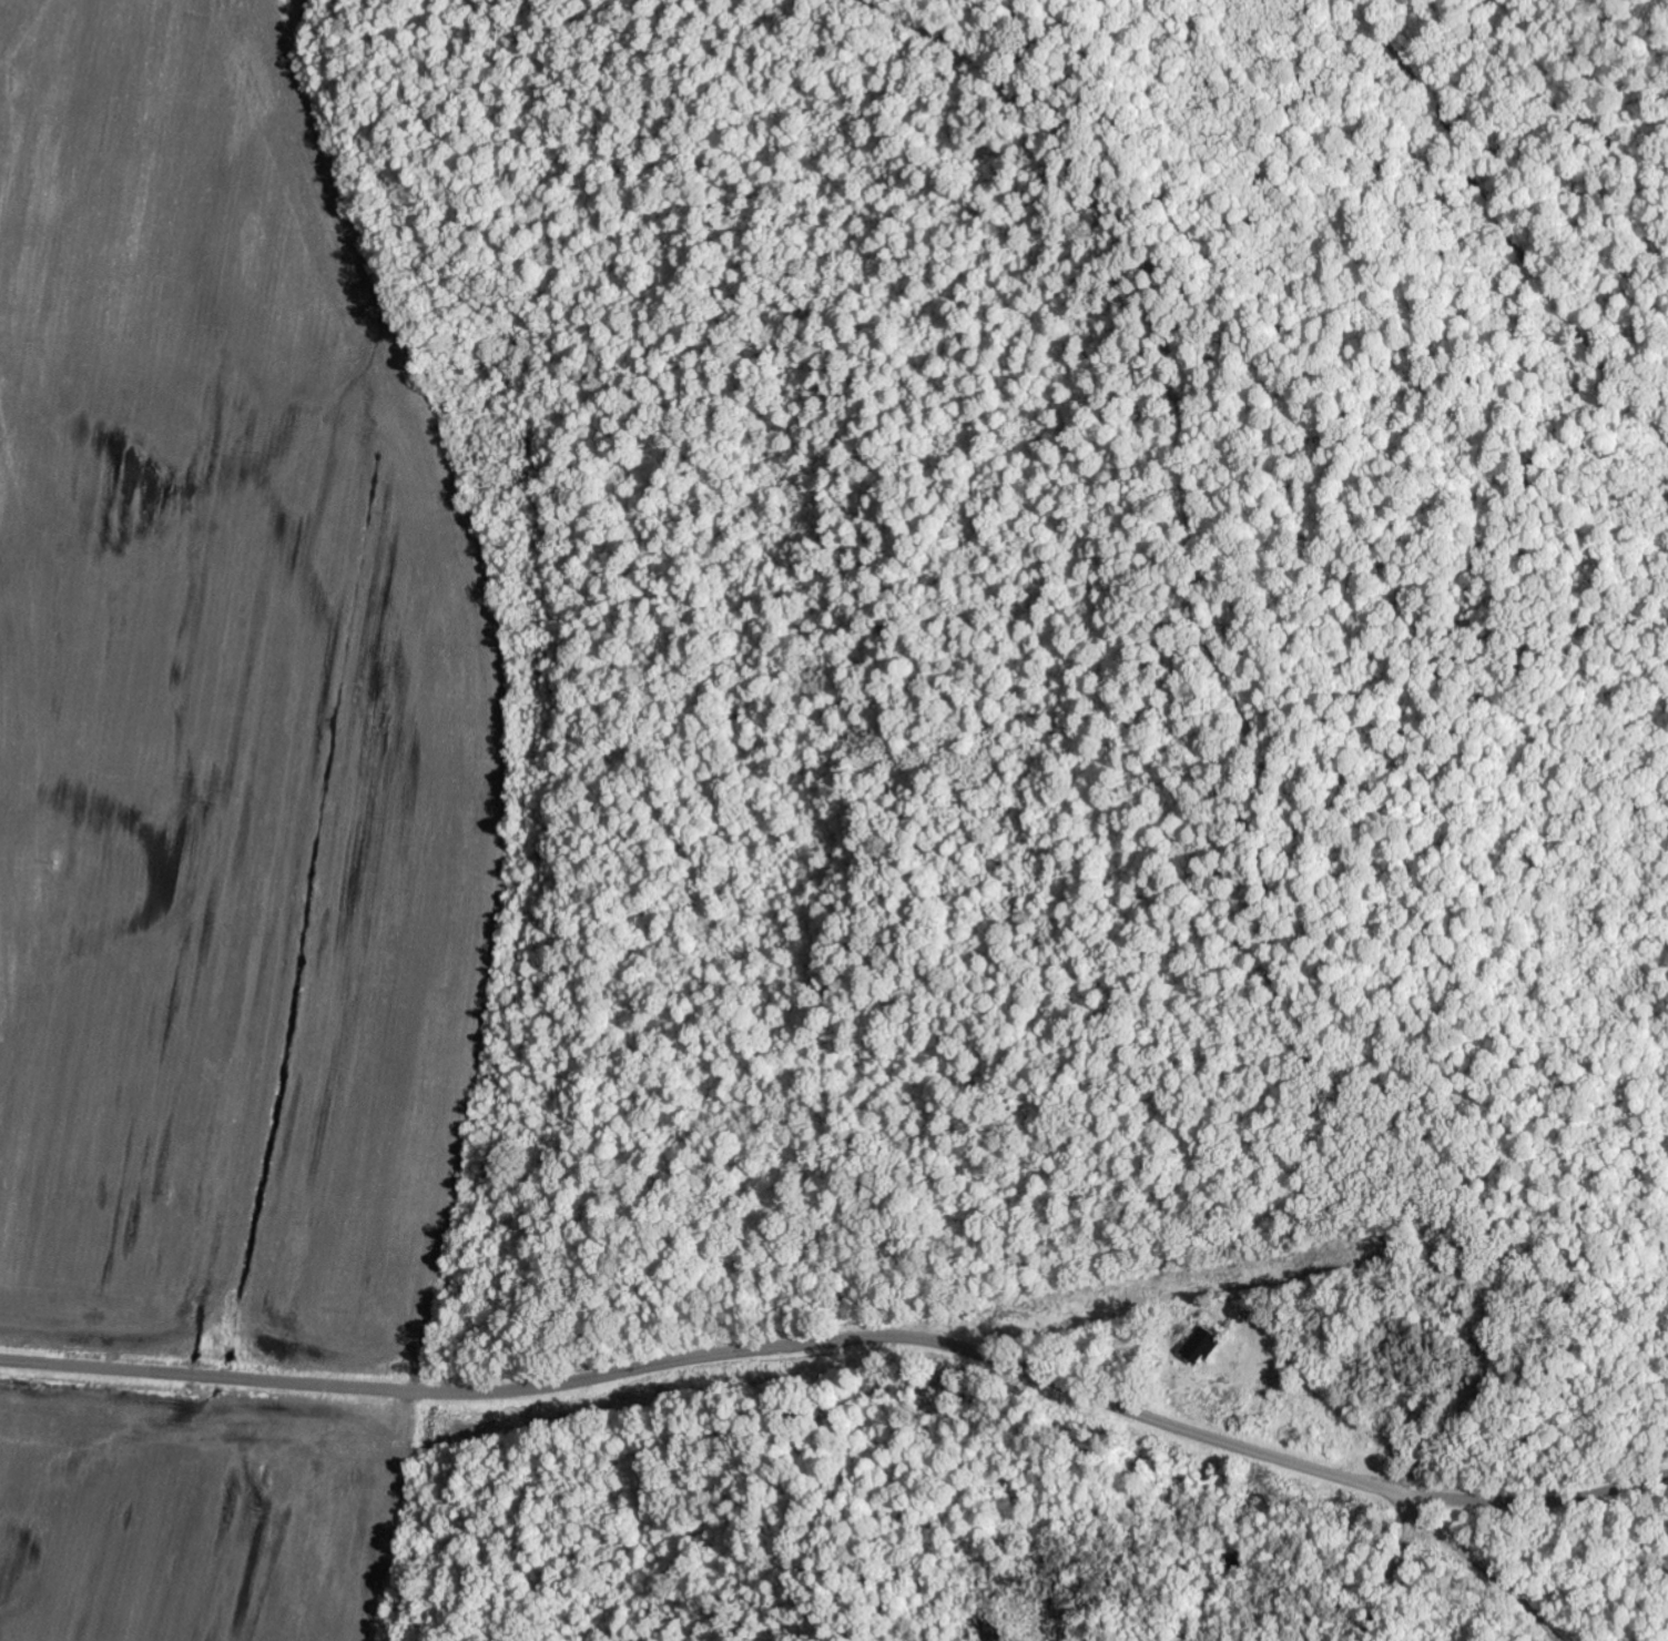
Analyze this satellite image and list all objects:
road: (844, 1343)
building: (1203, 1345)

